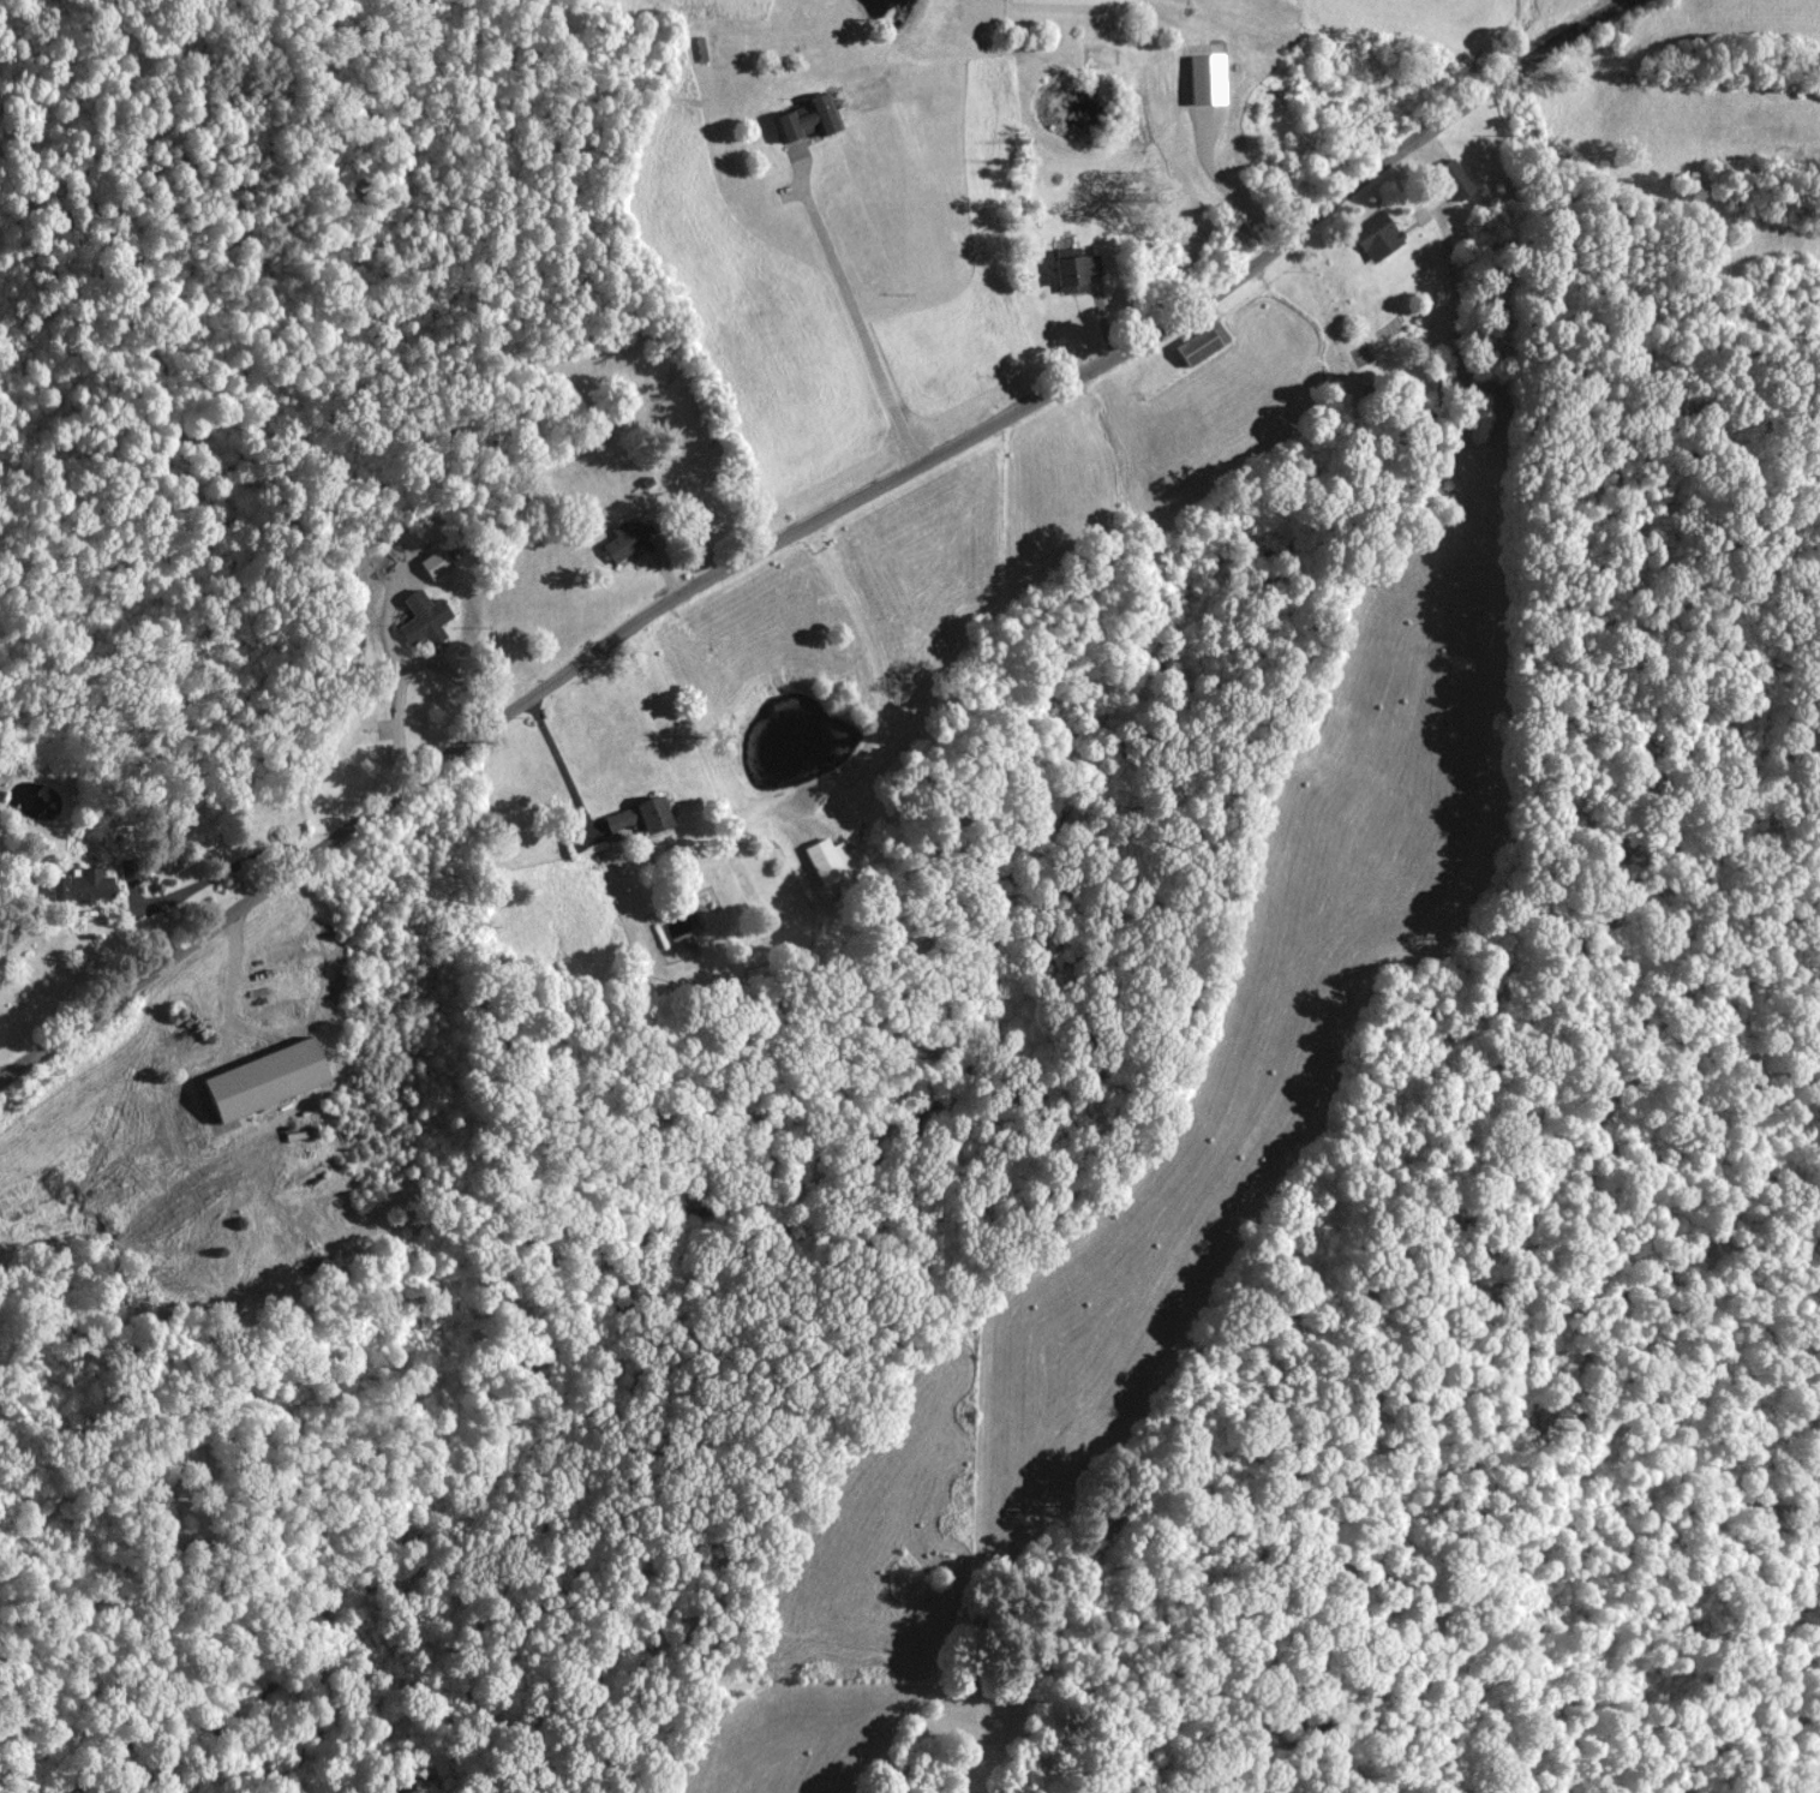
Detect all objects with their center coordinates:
building: (1205, 84)
building: (806, 119)
building: (1376, 237)
building: (1076, 273)
building: (1201, 345)
road: (806, 525)
building: (624, 540)
building: (435, 563)
building: (424, 620)
building: (635, 820)
building: (827, 861)
building: (80, 886)

